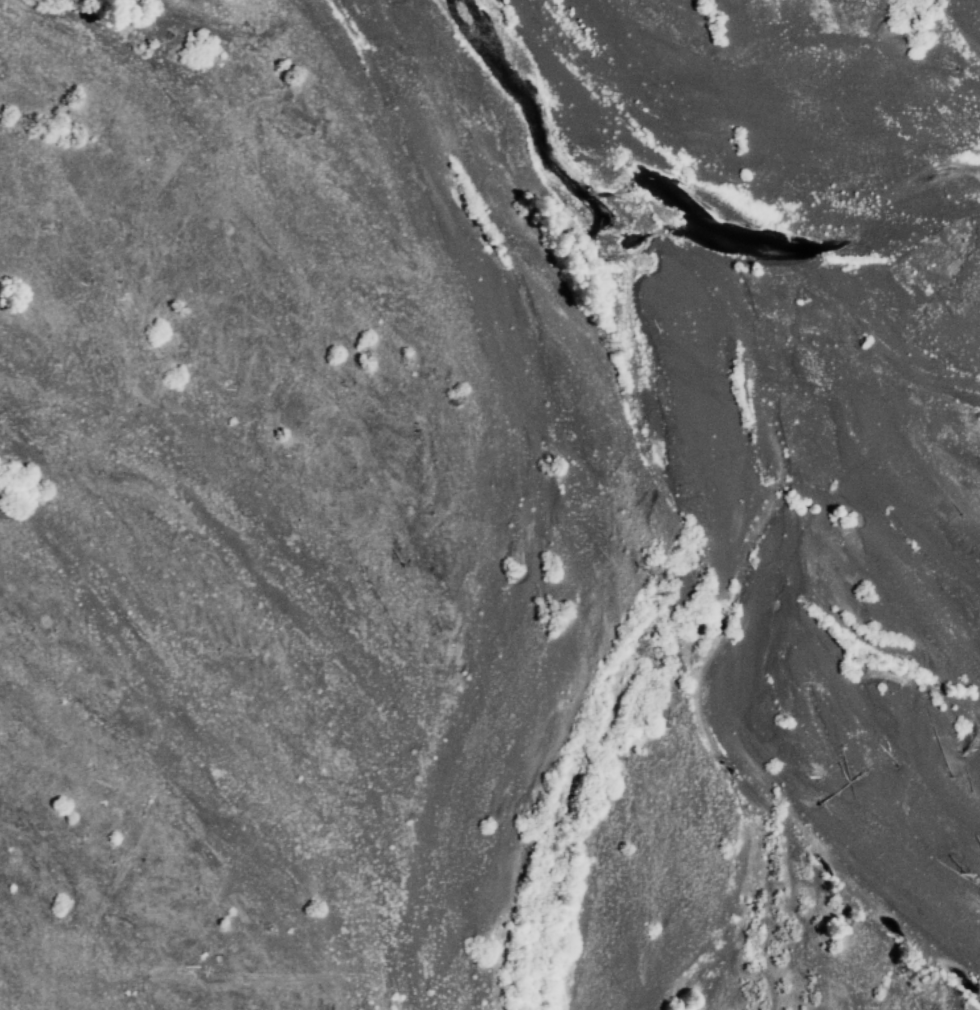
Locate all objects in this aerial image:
river: (210, 590)
river: (497, 851)

